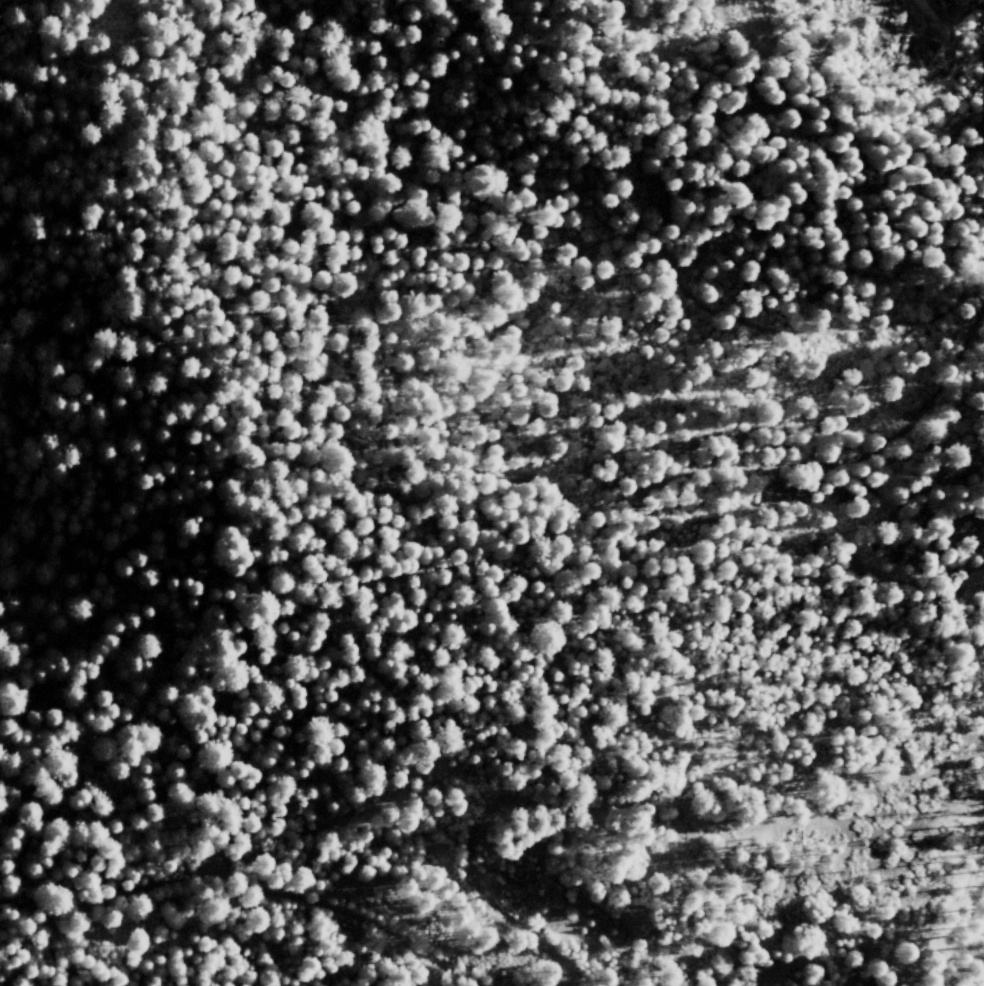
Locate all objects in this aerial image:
road: (634, 808)
road: (242, 886)

